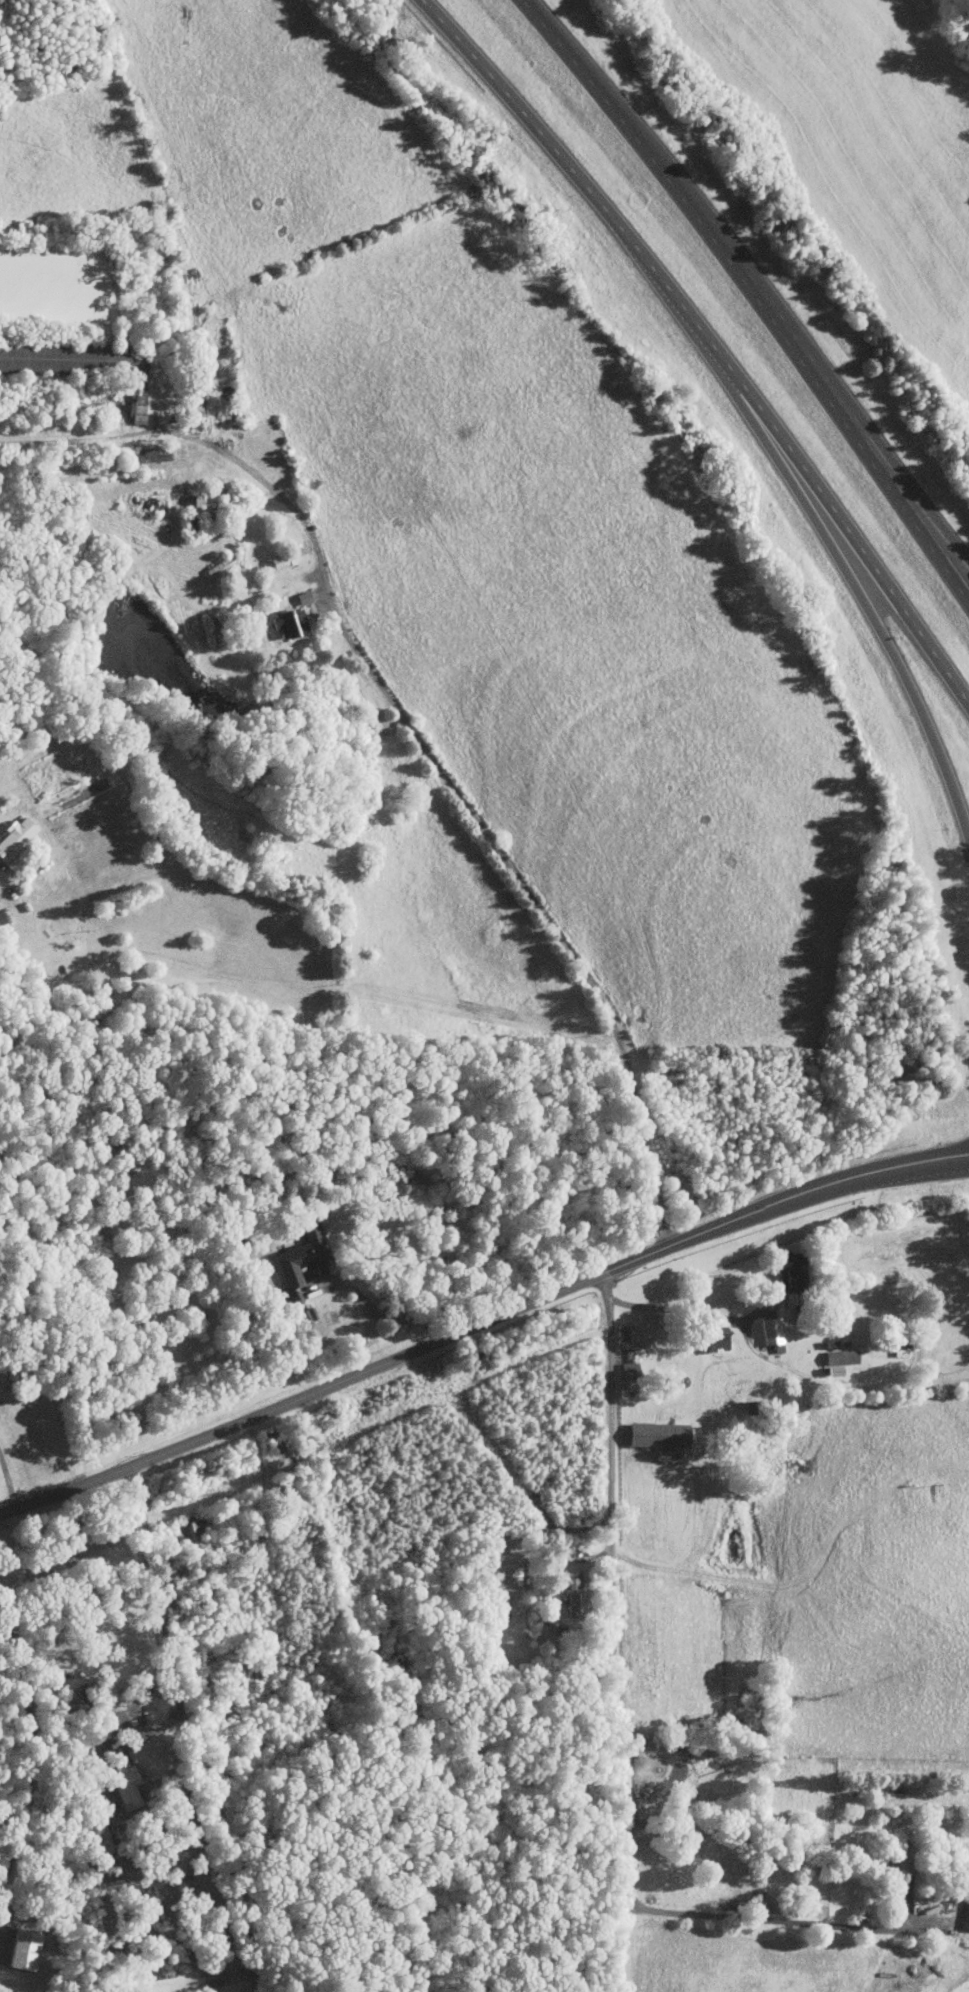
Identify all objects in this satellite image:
road: (504, 95)
road: (761, 282)
road: (75, 441)
road: (784, 446)
road: (941, 525)
building: (285, 557)
building: (301, 596)
road: (871, 608)
building: (285, 621)
road: (458, 796)
building: (13, 840)
building: (298, 1260)
building: (786, 1271)
road: (373, 1307)
road: (687, 1311)
road: (479, 1323)
building: (769, 1330)
building: (711, 1336)
building: (828, 1343)
building: (839, 1357)
road: (8, 1487)
road: (611, 1507)
building: (194, 1525)
building: (571, 1592)
road: (190, 1732)
road: (32, 1745)
building: (124, 1779)
building: (896, 1863)
road: (623, 1868)
building: (965, 1914)
road: (777, 1919)
building: (22, 1948)

